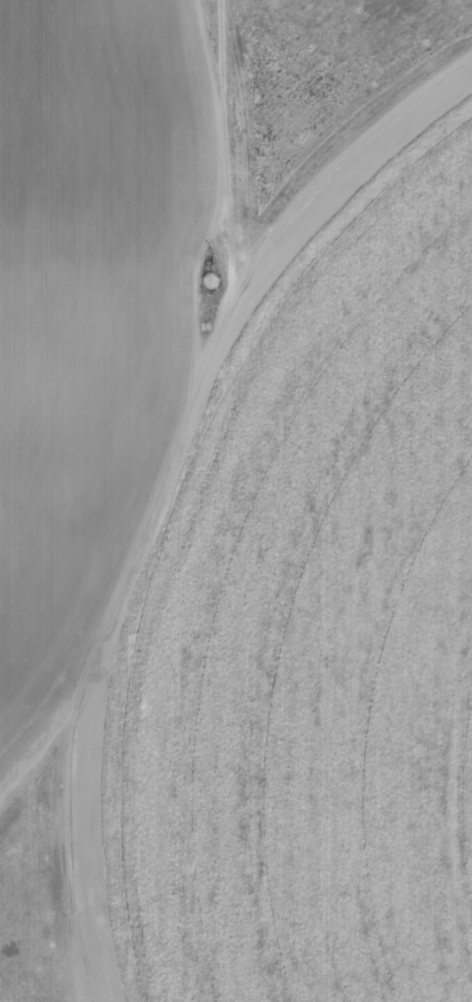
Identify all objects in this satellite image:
road: (290, 114)

